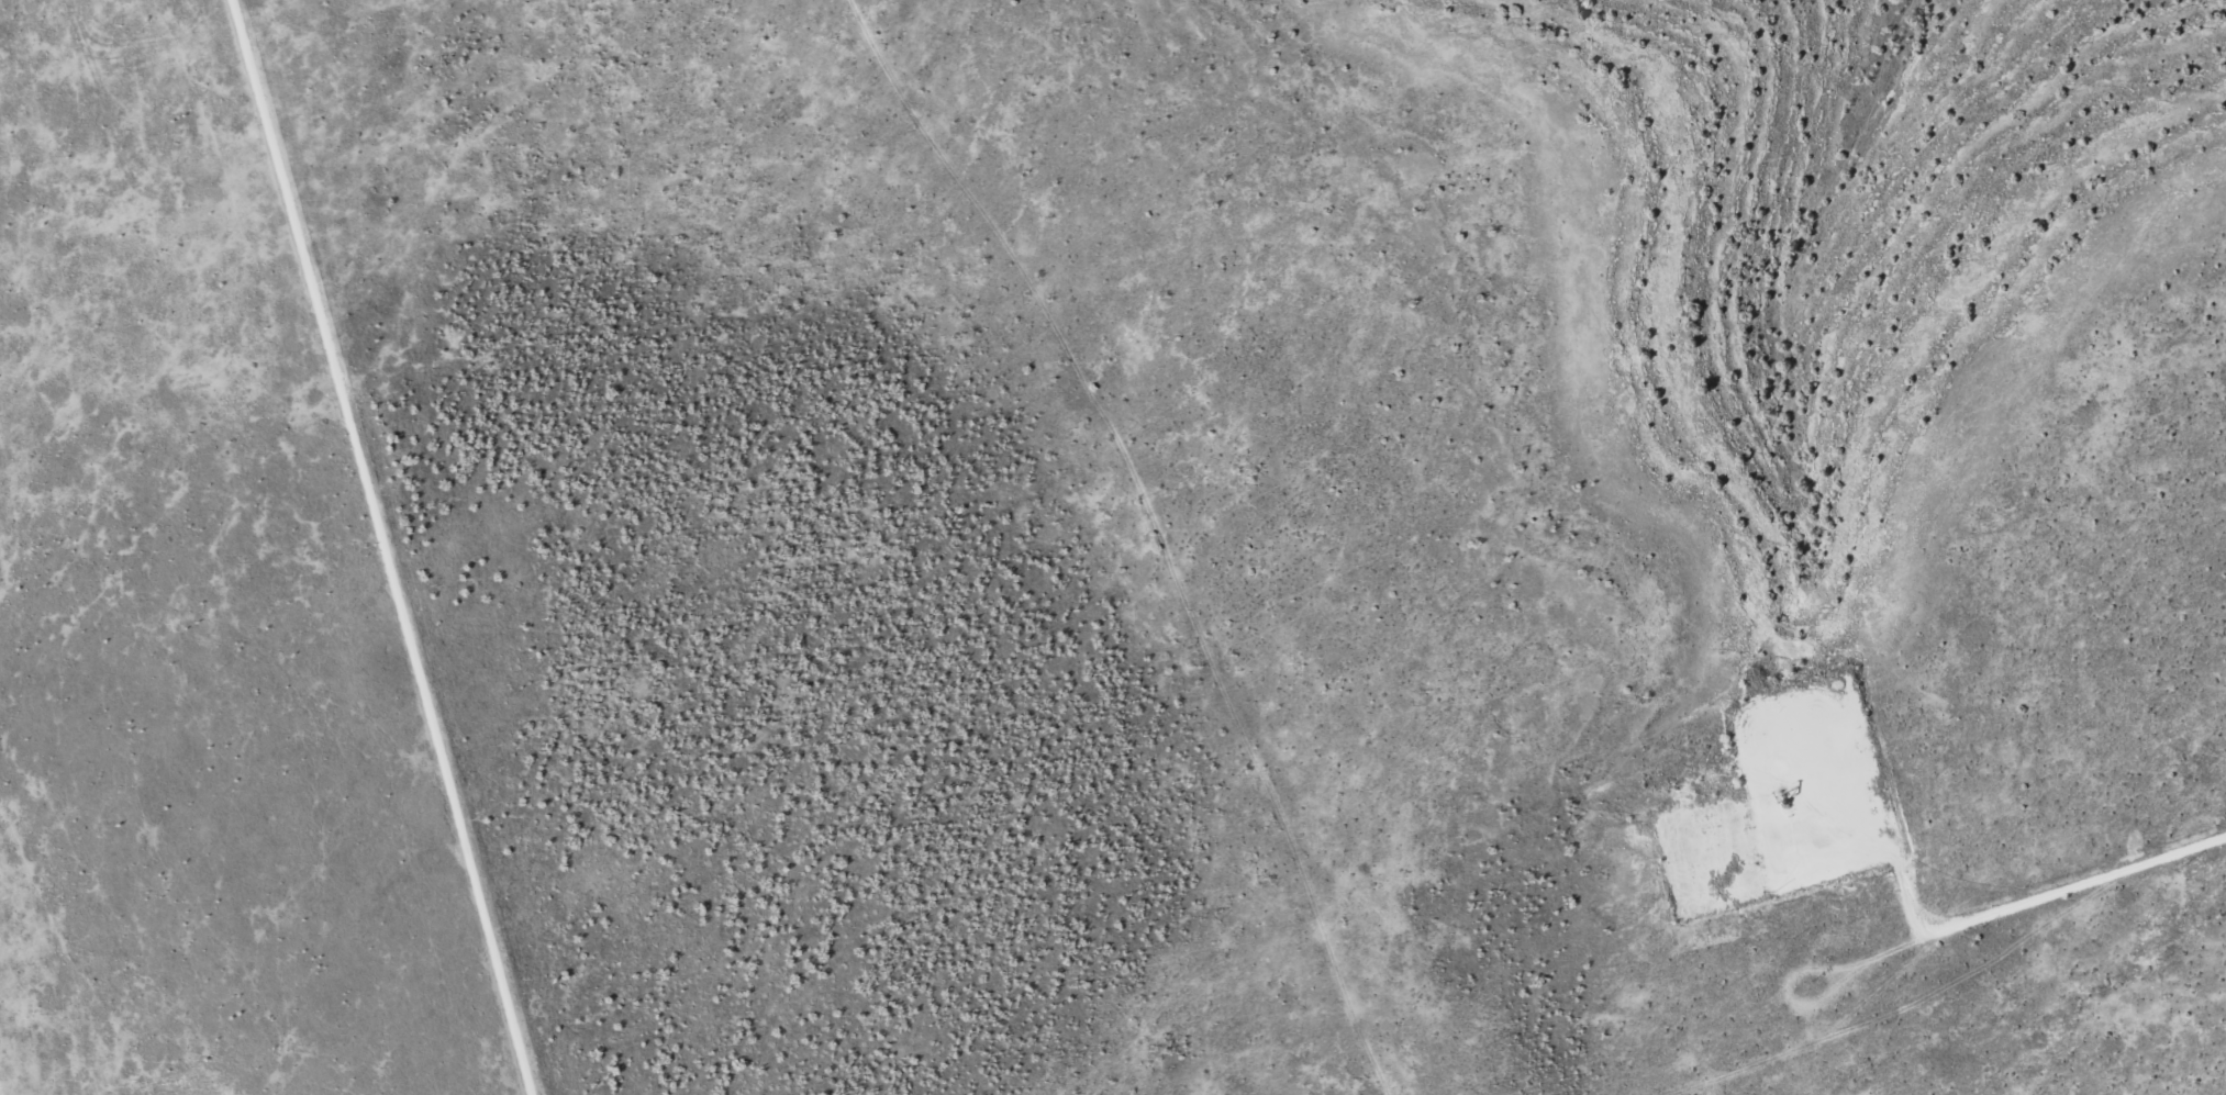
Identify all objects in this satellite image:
road: (408, 547)

